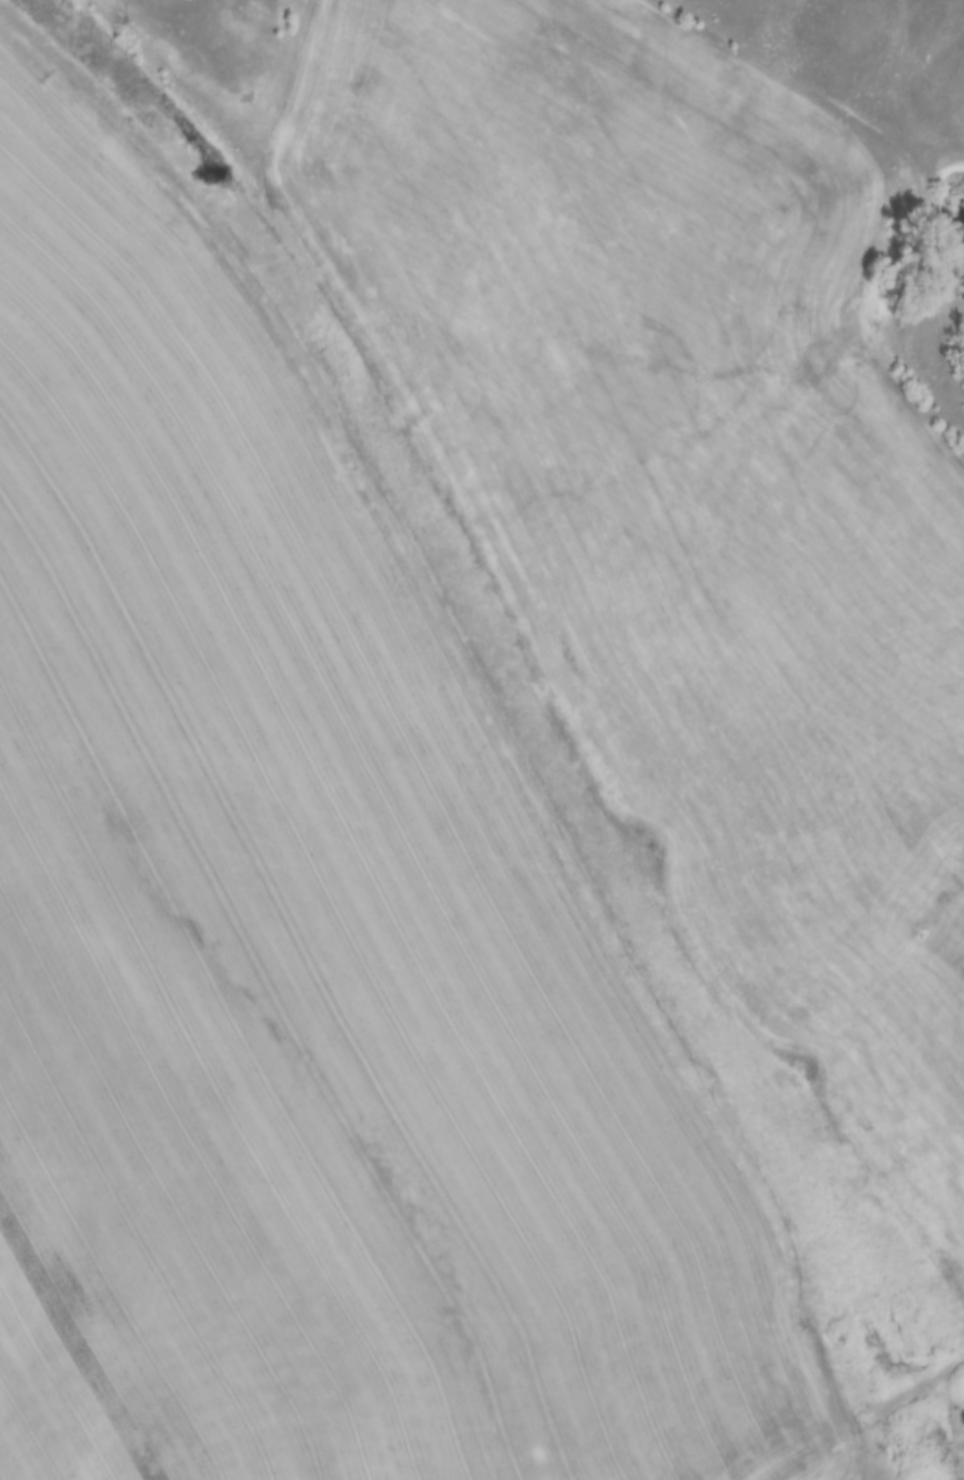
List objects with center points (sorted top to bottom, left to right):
road: (175, 1)
road: (903, 145)
road: (472, 696)
road: (869, 1413)

